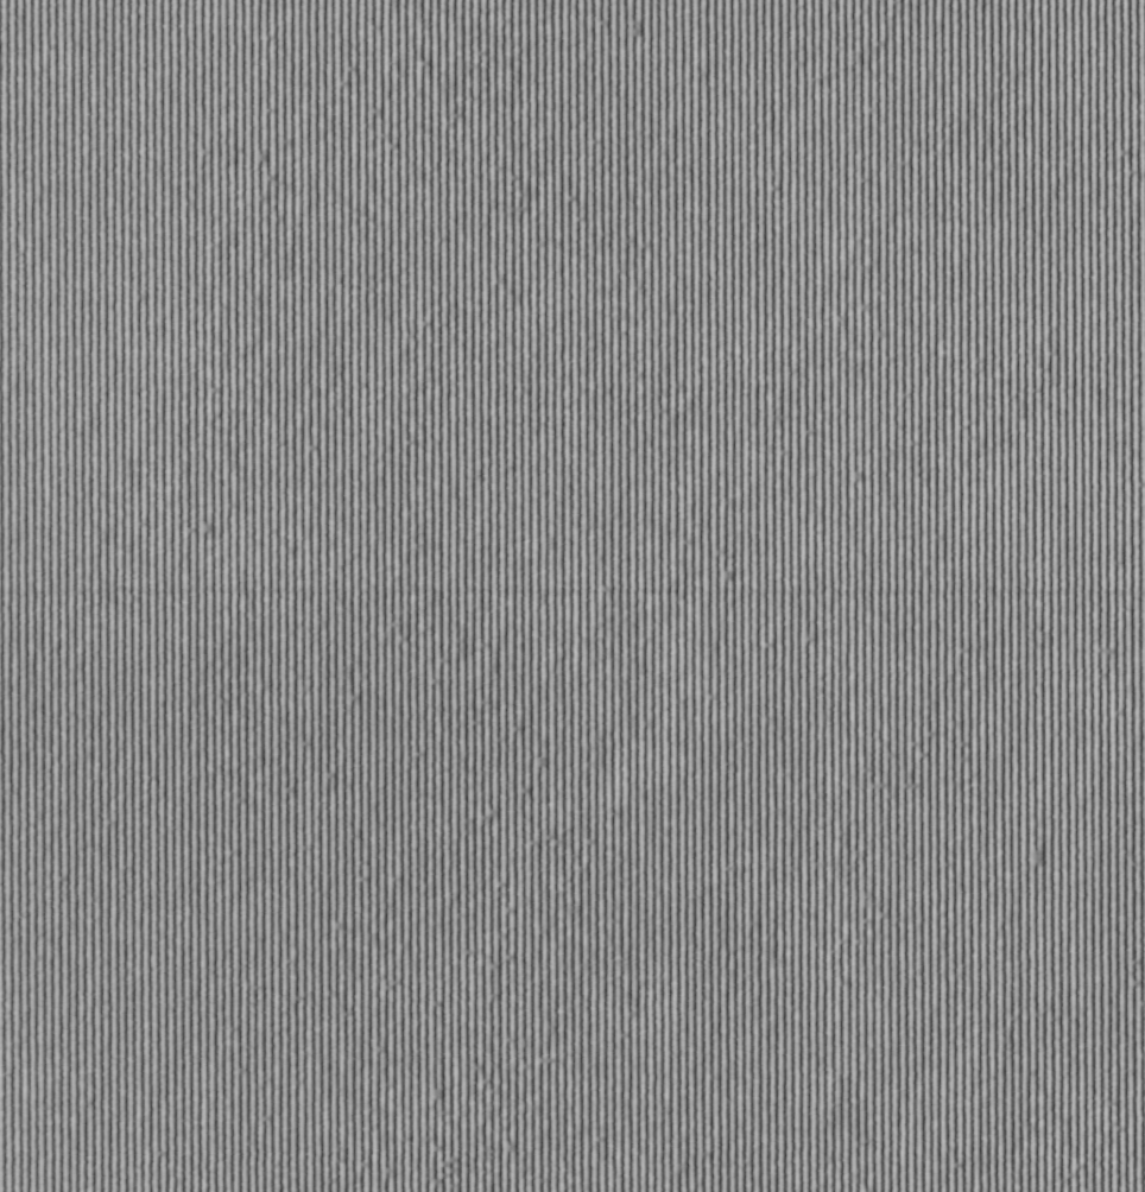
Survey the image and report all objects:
crop: (572, 596)

